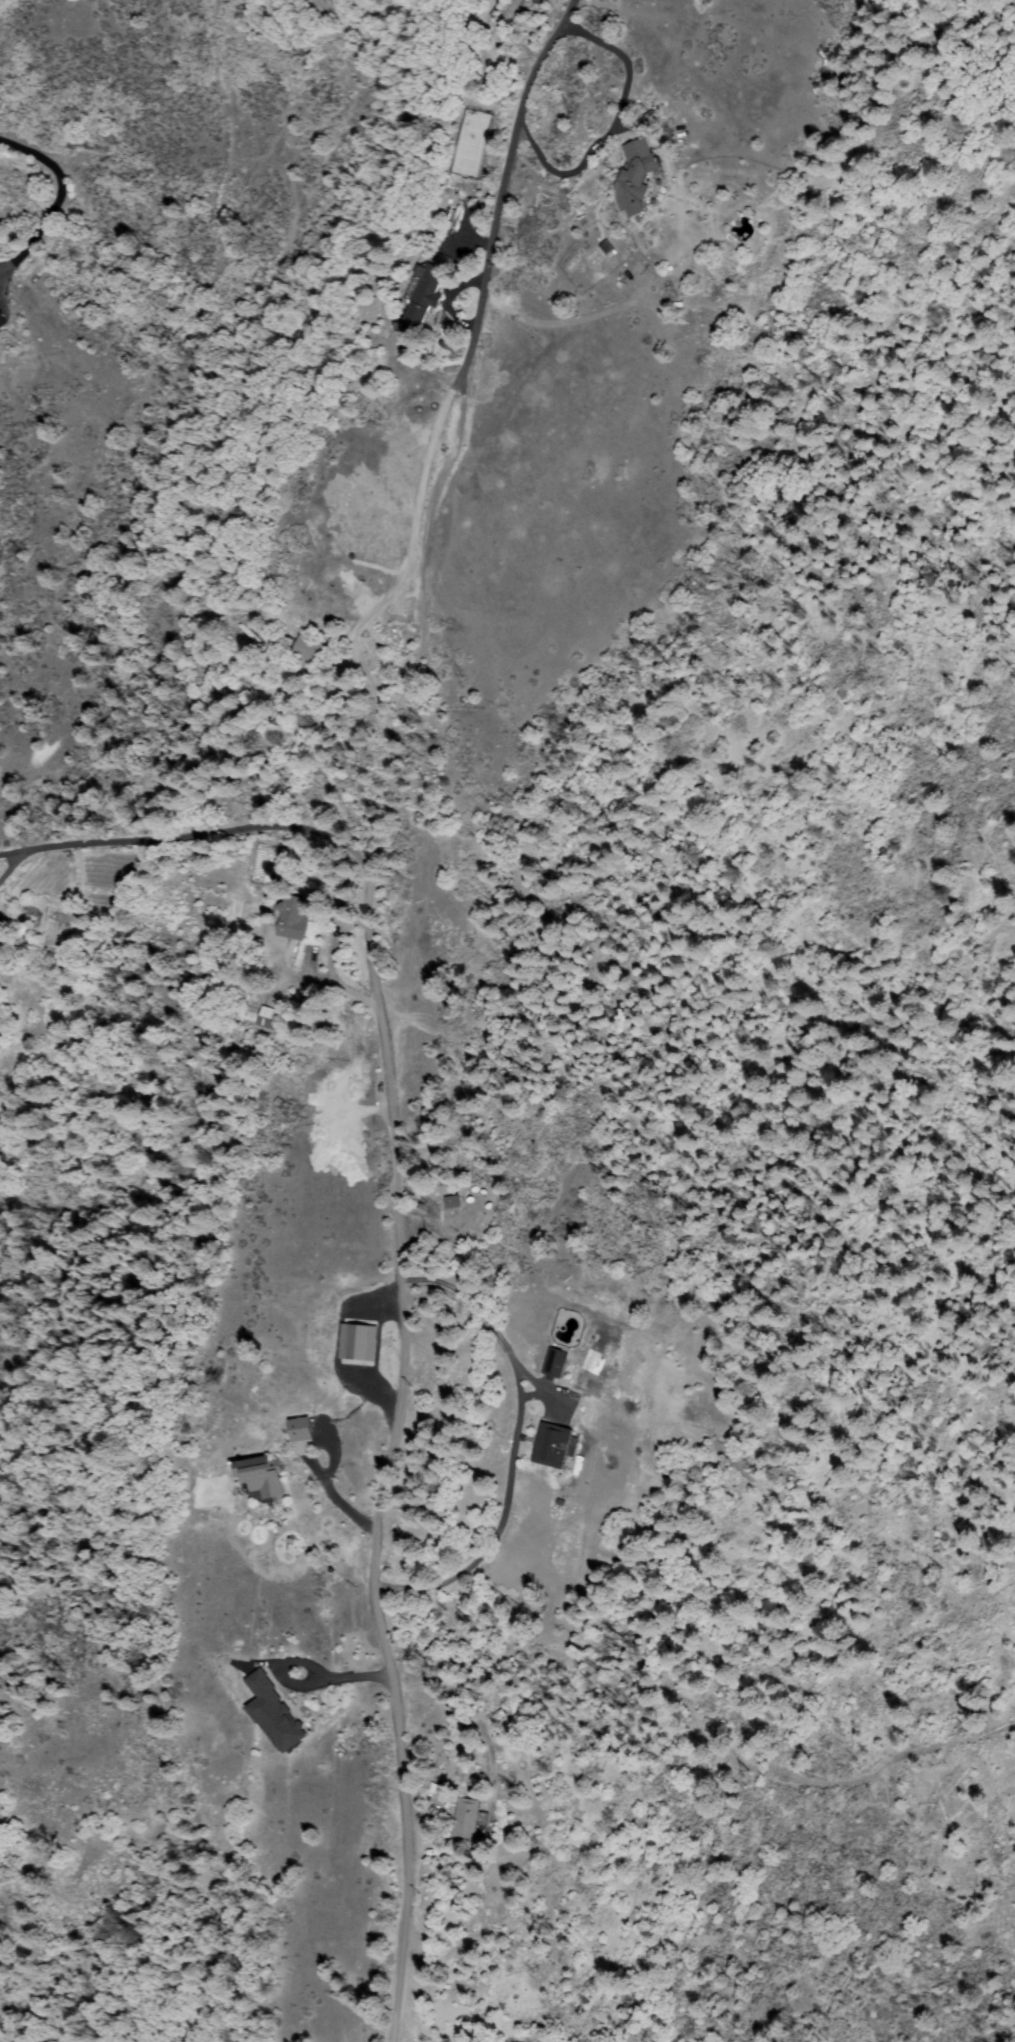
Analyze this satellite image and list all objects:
building: (539, 2)
building: (636, 176)
road: (57, 203)
building: (606, 247)
building: (425, 295)
building: (2, 322)
building: (249, 634)
building: (289, 640)
building: (308, 652)
road: (230, 831)
road: (11, 850)
road: (11, 860)
building: (293, 918)
road: (943, 1004)
road: (379, 1007)
building: (268, 1018)
building: (451, 1202)
building: (352, 1340)
building: (553, 1363)
building: (300, 1429)
building: (554, 1446)
building: (263, 1476)
building: (277, 1715)
building: (469, 1820)

